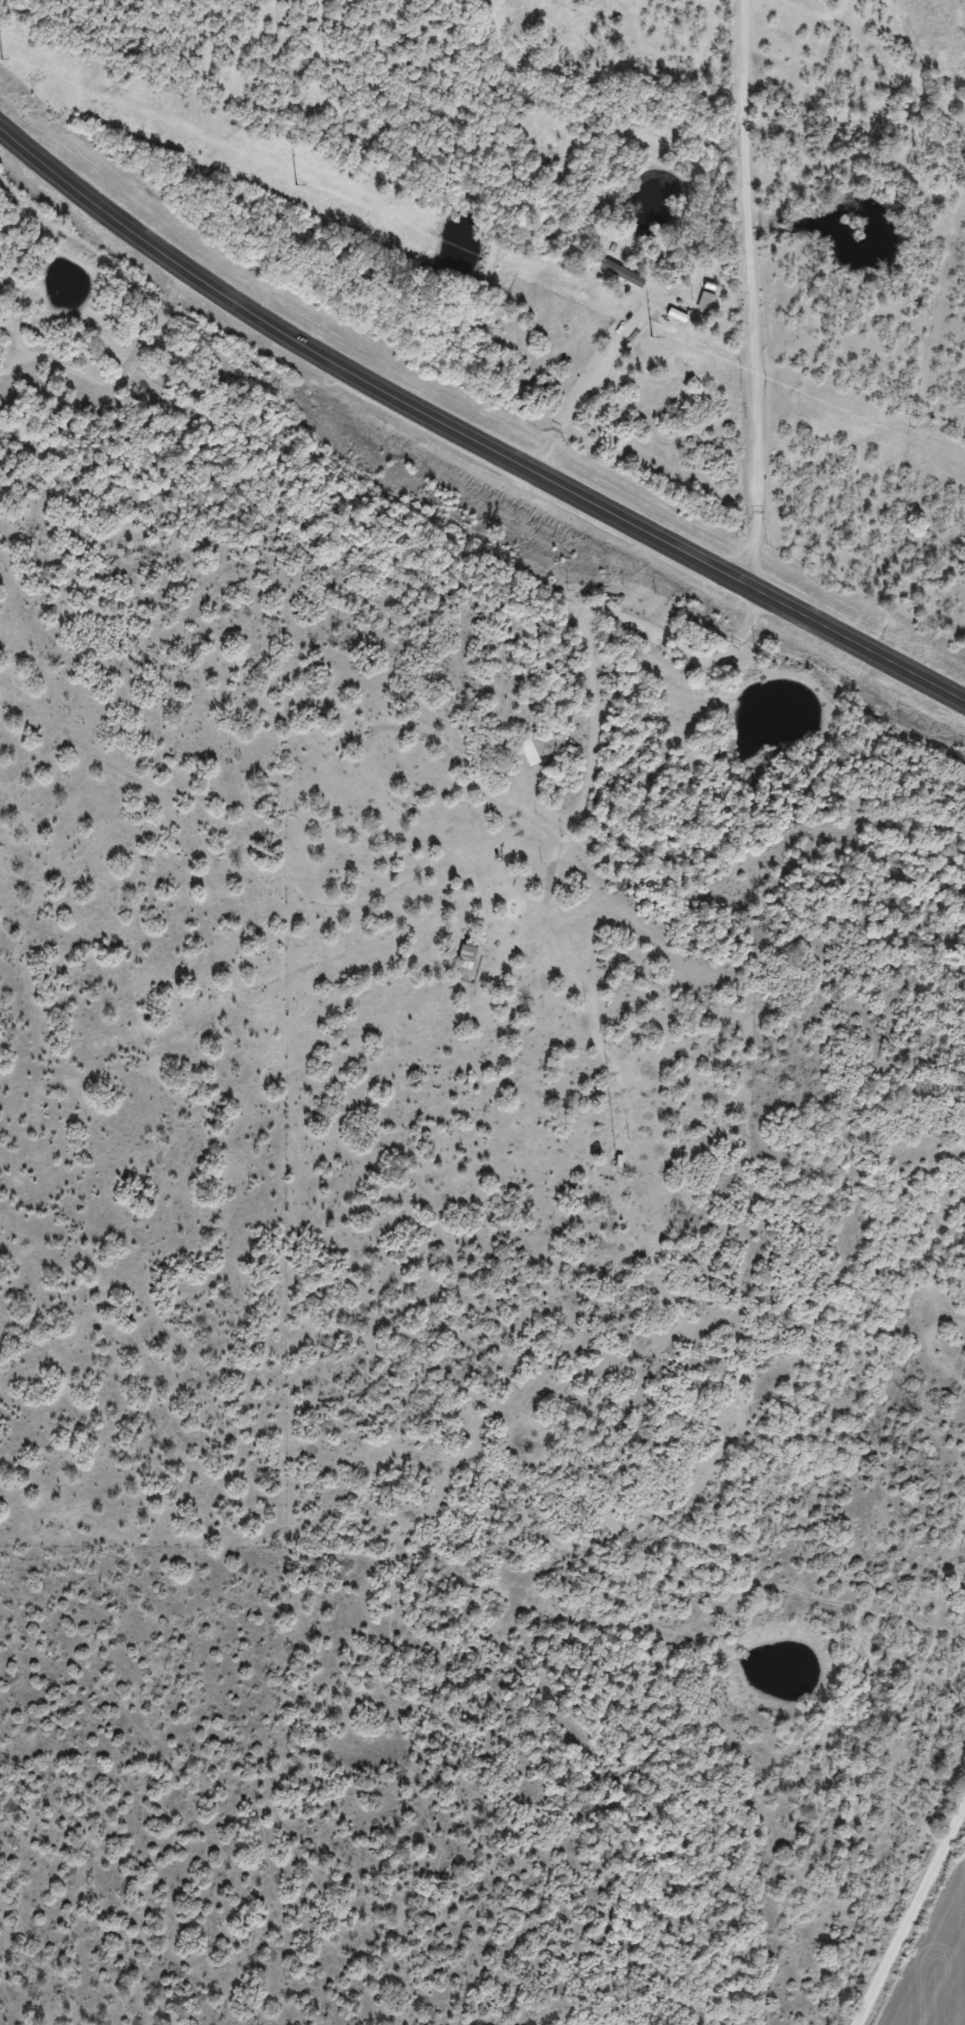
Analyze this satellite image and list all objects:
building: (617, 280)
road: (470, 436)
road: (93, 533)
building: (530, 754)
building: (467, 955)
road: (911, 1920)

